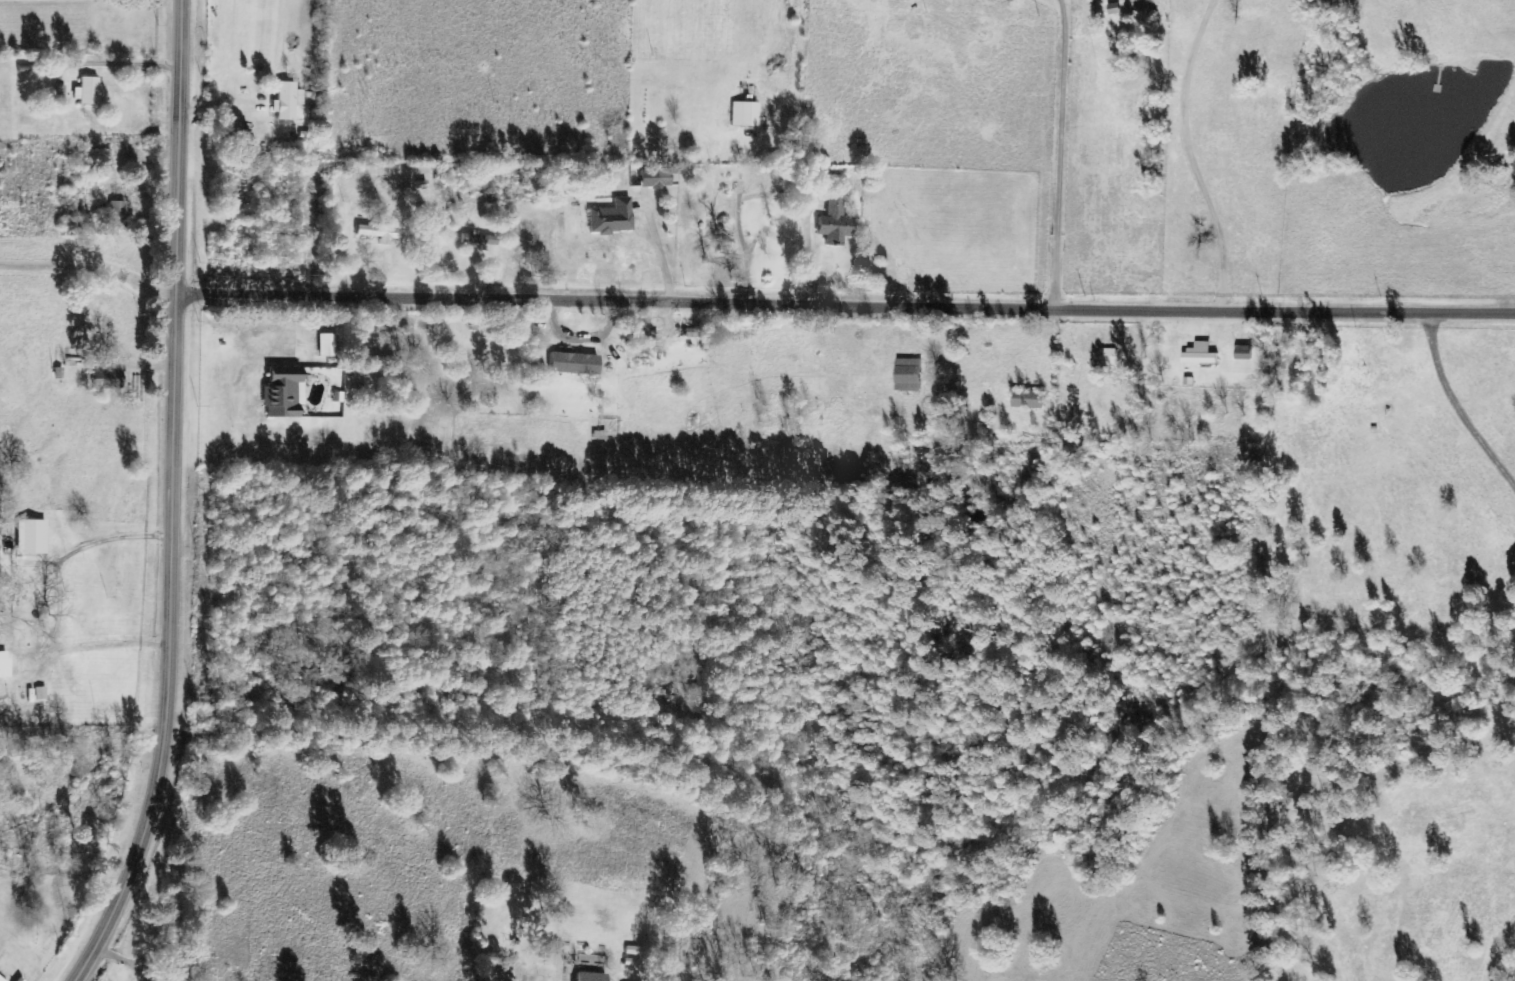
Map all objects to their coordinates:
building: (87, 92)
building: (285, 101)
building: (744, 114)
building: (653, 179)
building: (835, 180)
building: (116, 215)
building: (610, 218)
building: (833, 223)
building: (376, 234)
building: (477, 240)
road: (152, 284)
road: (850, 304)
building: (326, 346)
building: (1244, 352)
building: (1200, 354)
building: (572, 364)
building: (908, 375)
building: (281, 397)
building: (1028, 400)
road: (179, 500)
building: (29, 536)
building: (3, 665)
building: (588, 976)
building: (1, 980)

